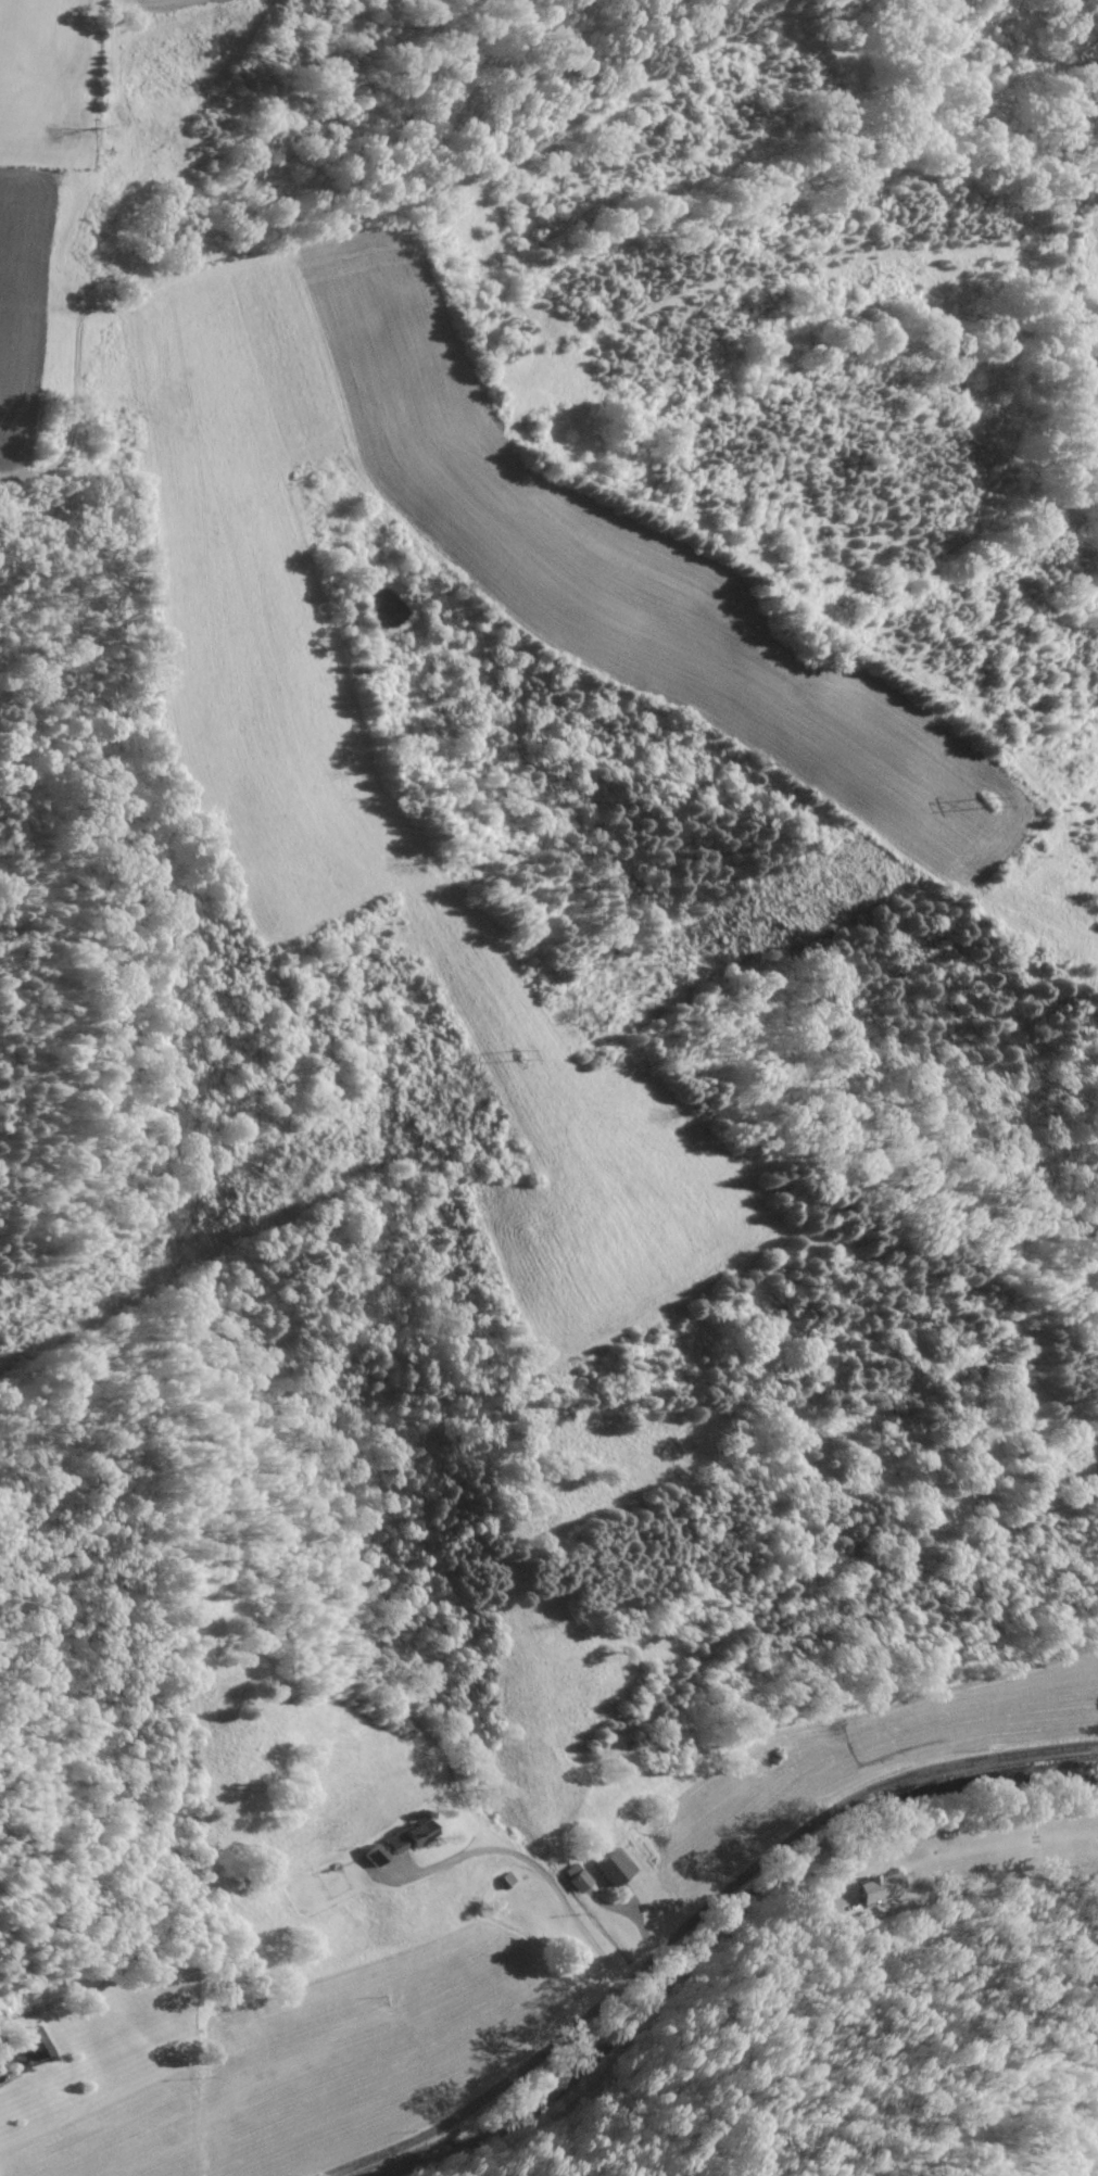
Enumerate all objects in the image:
power tower: (990, 793)
power tower: (519, 1050)
building: (413, 1837)
building: (375, 1857)
building: (613, 1869)
building: (573, 1878)
building: (881, 1887)
road: (676, 1893)
building: (33, 2046)

